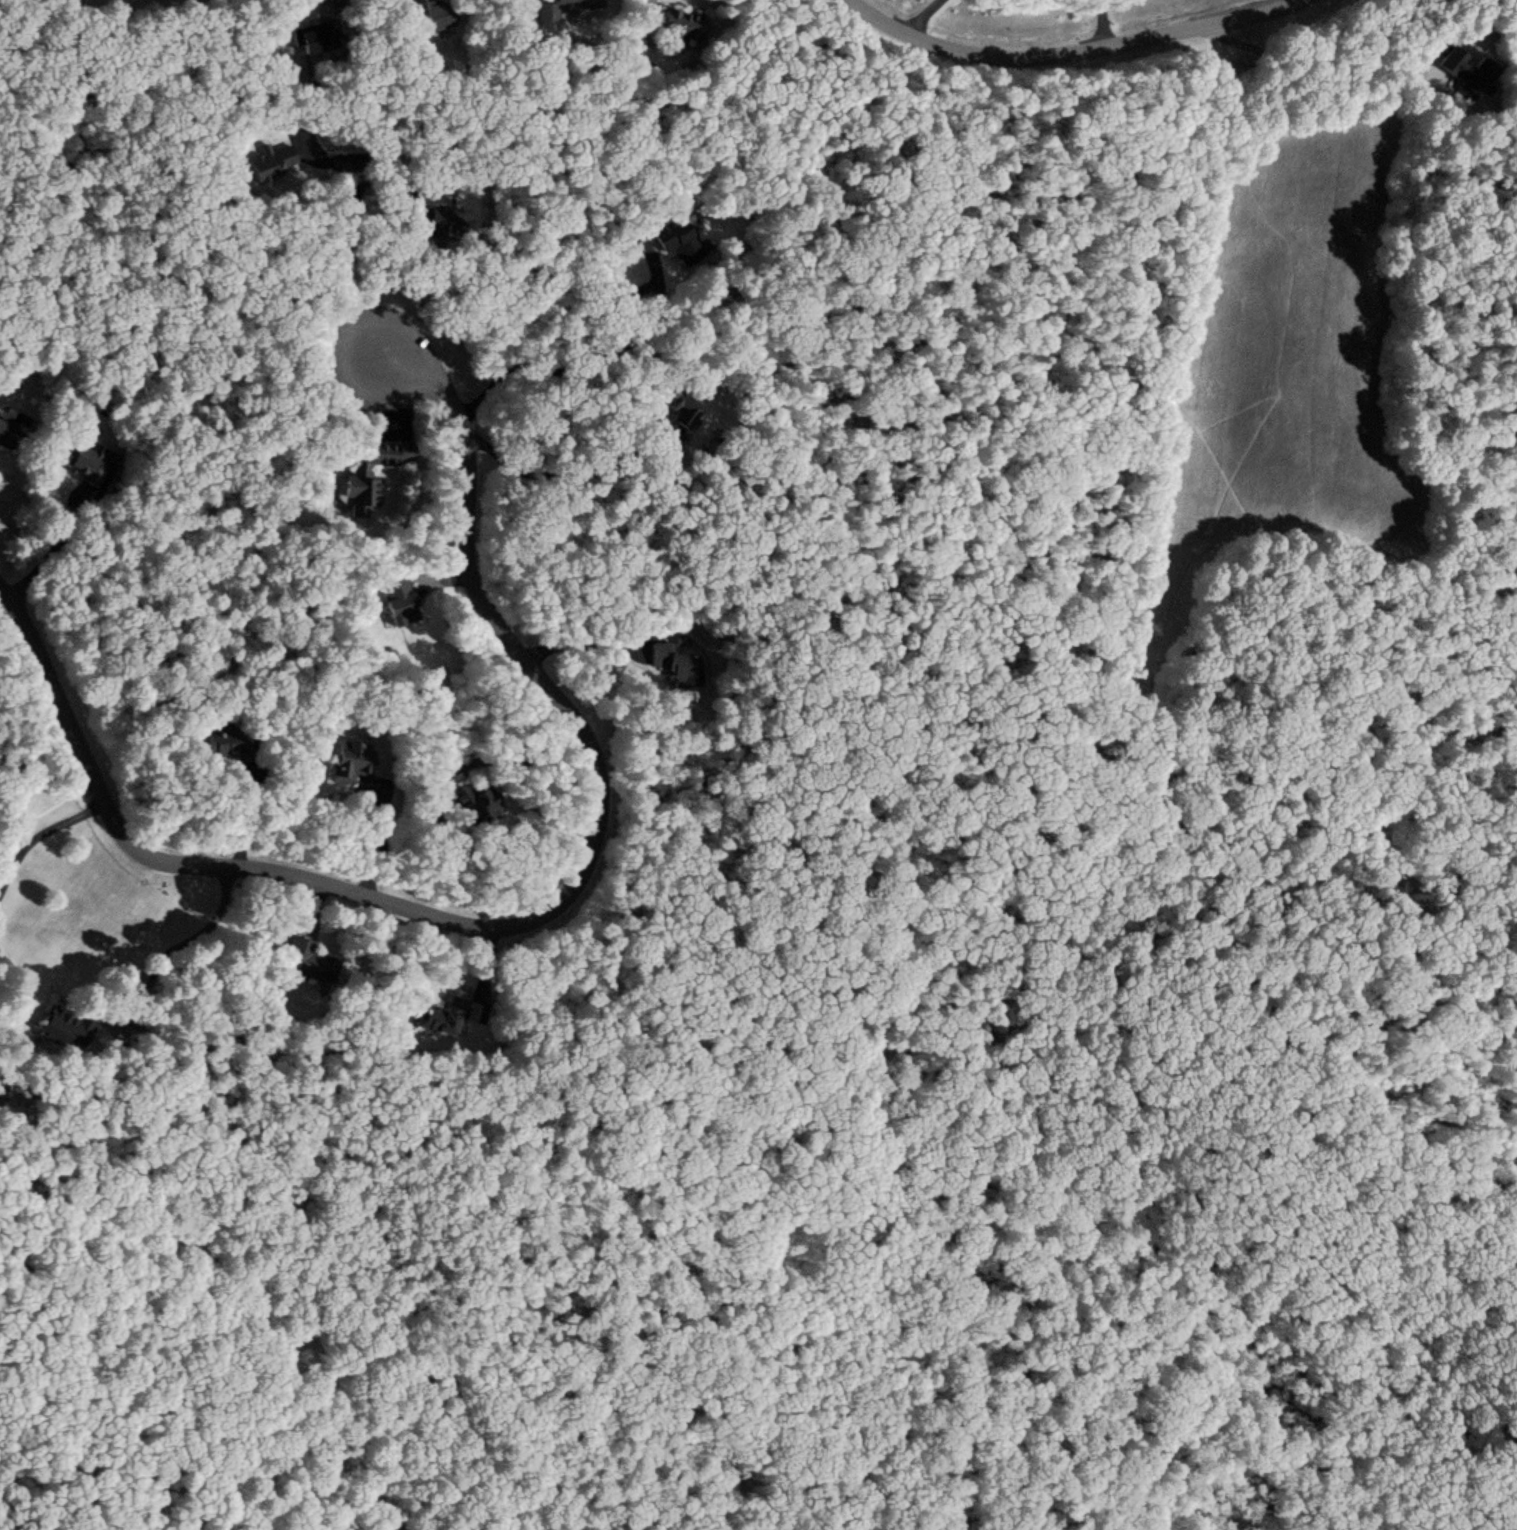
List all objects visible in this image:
building: (563, 9)
building: (431, 13)
building: (681, 24)
building: (314, 38)
road: (1077, 52)
building: (1461, 68)
building: (270, 162)
building: (437, 214)
building: (678, 242)
building: (684, 406)
building: (7, 436)
building: (87, 459)
building: (372, 476)
building: (398, 600)
building: (675, 665)
building: (229, 742)
building: (351, 763)
building: (473, 805)
road: (1342, 858)
road: (1089, 880)
road: (516, 921)
building: (313, 963)
road: (1459, 992)
building: (447, 1015)
building: (62, 1026)
road: (1125, 1351)

